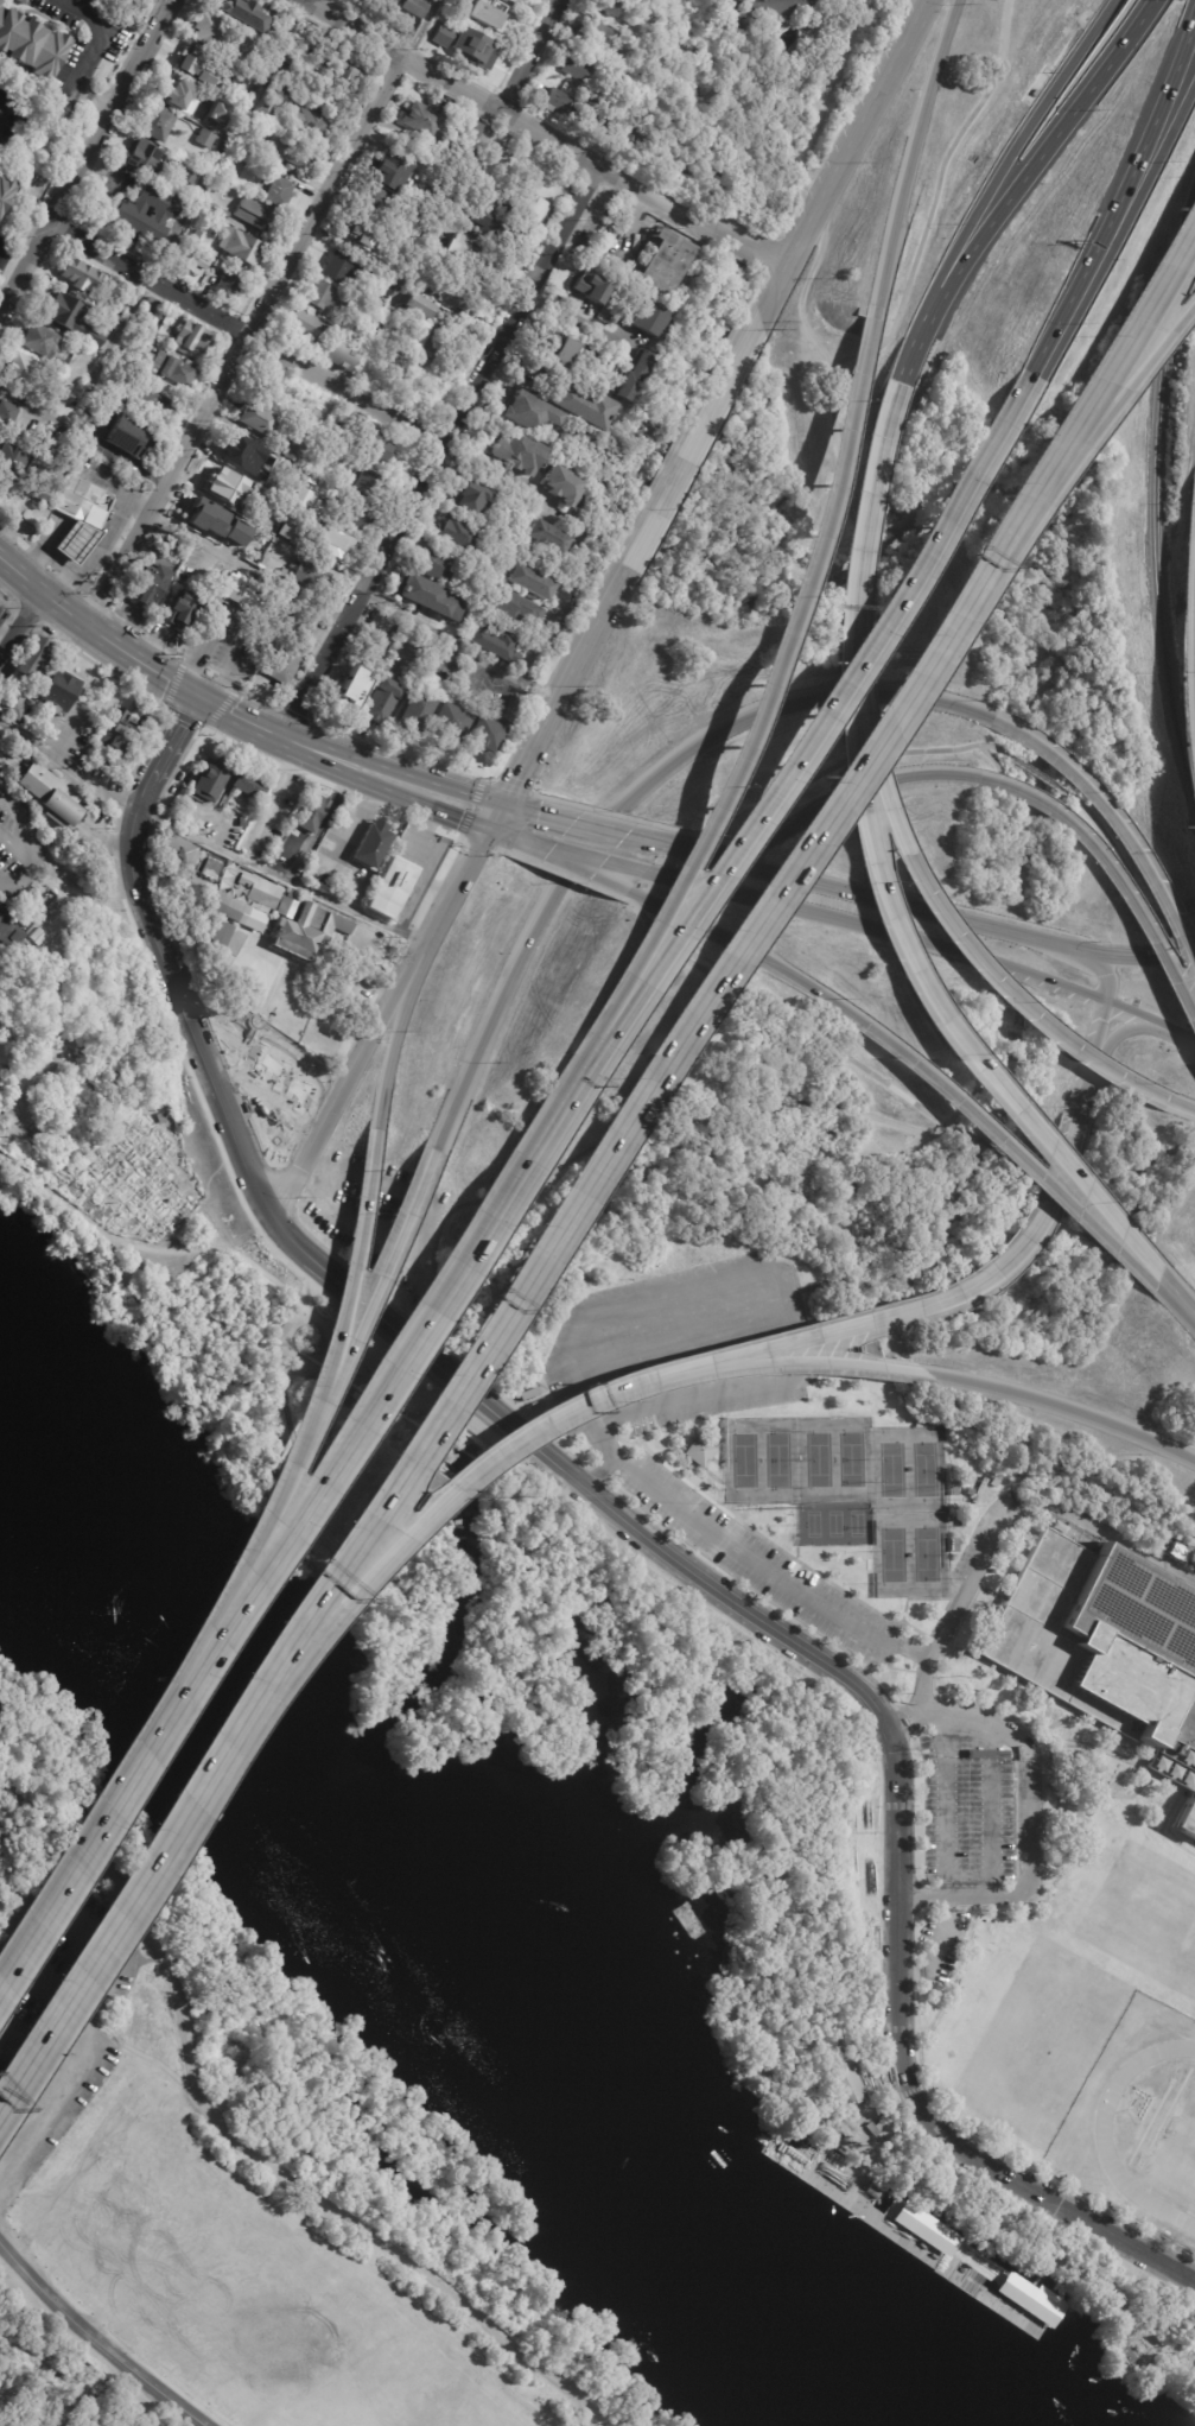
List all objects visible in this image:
building: (23, 0)
building: (515, 0)
building: (0, 1)
road: (313, 1)
building: (511, 1)
building: (380, 4)
building: (608, 6)
building: (414, 7)
building: (767, 7)
building: (243, 14)
building: (481, 15)
road: (418, 26)
building: (208, 28)
building: (596, 31)
road: (94, 34)
building: (441, 34)
building: (31, 43)
building: (472, 47)
building: (229, 50)
road: (529, 53)
building: (622, 61)
building: (345, 63)
building: (203, 64)
building: (577, 70)
building: (240, 78)
building: (311, 81)
building: (173, 91)
building: (555, 102)
road: (827, 104)
building: (263, 106)
building: (444, 106)
road: (511, 113)
building: (220, 114)
building: (157, 121)
building: (421, 122)
building: (305, 123)
road: (858, 134)
building: (465, 137)
building: (204, 139)
building: (631, 139)
road: (1142, 147)
road: (1016, 148)
building: (144, 153)
building: (287, 153)
road: (1043, 153)
road: (911, 154)
road: (84, 157)
building: (189, 172)
building: (390, 176)
building: (685, 176)
road: (1146, 183)
building: (5, 188)
building: (276, 192)
building: (523, 207)
building: (380, 208)
building: (102, 210)
road: (185, 211)
building: (217, 211)
building: (253, 215)
building: (144, 218)
building: (490, 224)
building: (196, 235)
building: (354, 236)
road: (740, 241)
building: (239, 247)
road: (425, 249)
building: (468, 256)
road: (737, 256)
building: (189, 260)
building: (663, 262)
road: (776, 262)
building: (341, 268)
building: (77, 275)
road: (910, 280)
building: (227, 284)
building: (422, 285)
building: (587, 286)
building: (381, 293)
road: (773, 294)
building: (458, 296)
building: (324, 299)
building: (108, 305)
building: (417, 306)
building: (648, 318)
building: (70, 321)
building: (145, 321)
road: (578, 321)
building: (304, 324)
road: (1060, 325)
road: (1134, 327)
building: (348, 328)
road: (244, 332)
building: (190, 338)
road: (248, 340)
building: (422, 340)
building: (38, 342)
building: (555, 346)
road: (916, 346)
building: (591, 354)
building: (127, 357)
building: (336, 359)
road: (1136, 366)
building: (167, 368)
building: (24, 370)
building: (634, 376)
road: (722, 391)
road: (699, 394)
building: (110, 397)
building: (580, 403)
building: (154, 404)
building: (127, 405)
building: (525, 412)
building: (5, 414)
building: (256, 419)
road: (85, 435)
building: (125, 437)
building: (332, 437)
building: (380, 448)
road: (439, 449)
building: (294, 452)
building: (517, 454)
building: (9, 465)
road: (500, 469)
building: (220, 481)
building: (38, 483)
building: (368, 483)
building: (562, 484)
building: (303, 499)
building: (470, 499)
building: (83, 500)
road: (863, 512)
road: (655, 514)
building: (352, 517)
building: (267, 522)
building: (216, 524)
road: (913, 524)
railway: (1156, 533)
road: (191, 534)
building: (458, 534)
building: (546, 534)
building: (75, 540)
building: (332, 545)
road: (617, 550)
building: (434, 564)
building: (309, 578)
building: (530, 579)
road: (1193, 584)
building: (148, 587)
building: (235, 588)
building: (431, 597)
building: (514, 604)
building: (179, 610)
road: (602, 616)
road: (21, 621)
road: (432, 627)
building: (294, 628)
road: (96, 629)
road: (1029, 640)
building: (497, 645)
building: (38, 663)
building: (284, 664)
road: (173, 683)
building: (349, 688)
road: (545, 690)
building: (63, 691)
road: (763, 692)
traffic signals: (201, 695)
road: (1190, 695)
road: (256, 698)
building: (381, 699)
road: (802, 701)
building: (21, 705)
road: (222, 707)
building: (417, 710)
road: (182, 715)
road: (239, 715)
road: (294, 715)
road: (819, 717)
building: (450, 721)
building: (121, 730)
building: (485, 730)
road: (540, 734)
road: (169, 752)
road: (398, 754)
road: (853, 762)
road: (390, 766)
road: (69, 767)
road: (1038, 775)
road: (1070, 775)
building: (299, 778)
road: (905, 778)
building: (208, 781)
building: (248, 783)
road: (330, 783)
road: (509, 786)
road: (379, 790)
building: (52, 798)
road: (272, 799)
traffic signals: (503, 804)
road: (519, 807)
road: (1044, 807)
road: (472, 809)
building: (310, 811)
road: (608, 812)
parking lot: (98, 816)
road: (360, 816)
road: (1009, 816)
road: (555, 817)
road: (495, 818)
building: (242, 822)
road: (583, 823)
road: (743, 825)
road: (20, 826)
road: (316, 829)
road: (710, 829)
road: (788, 830)
road: (896, 831)
traffic signals: (488, 832)
road: (628, 835)
road: (726, 835)
road: (500, 836)
road: (106, 838)
building: (369, 843)
road: (478, 843)
road: (759, 843)
road: (116, 845)
road: (527, 845)
parking lot: (17, 849)
building: (176, 851)
road: (704, 854)
road: (596, 861)
road: (33, 867)
building: (209, 868)
road: (589, 873)
road: (562, 875)
road: (1136, 879)
road: (282, 880)
building: (389, 886)
road: (456, 889)
road: (729, 891)
building: (265, 893)
road: (84, 894)
road: (633, 901)
building: (236, 911)
road: (980, 913)
road: (1165, 917)
building: (206, 919)
road: (967, 919)
building: (32, 925)
building: (307, 925)
building: (218, 935)
road: (723, 935)
road: (1150, 945)
road: (180, 948)
road: (958, 951)
road: (166, 959)
road: (520, 963)
road: (1105, 976)
road: (923, 999)
road: (370, 1011)
road: (169, 1012)
road: (1137, 1016)
road: (250, 1018)
road: (694, 1018)
road: (254, 1027)
road: (797, 1027)
road: (1099, 1030)
road: (1127, 1031)
road: (1182, 1035)
road: (398, 1039)
road: (244, 1047)
park: (253, 1050)
road: (1075, 1054)
road: (269, 1062)
road: (237, 1066)
road: (984, 1076)
road: (349, 1082)
road: (1087, 1092)
building: (157, 1106)
road: (1178, 1108)
building: (161, 1117)
road: (983, 1130)
road: (612, 1139)
road: (986, 1145)
park: (134, 1151)
road: (248, 1163)
road: (1091, 1186)
road: (280, 1190)
parking lot: (384, 1220)
road: (193, 1249)
road: (781, 1285)
road: (348, 1290)
road: (376, 1291)
road: (311, 1296)
road: (358, 1298)
road: (370, 1299)
road: (1176, 1299)
road: (940, 1306)
road: (360, 1322)
building: (284, 1329)
road: (214, 1351)
road: (401, 1357)
road: (829, 1364)
road: (475, 1372)
building: (528, 1392)
road: (586, 1399)
road: (1074, 1414)
road: (535, 1424)
road: (406, 1448)
parking lot: (614, 1451)
building: (699, 1452)
park: (848, 1457)
road: (501, 1458)
road: (597, 1458)
park: (775, 1458)
park: (815, 1458)
park: (740, 1459)
park: (889, 1468)
park: (922, 1468)
road: (600, 1471)
road: (638, 1475)
building: (994, 1483)
building: (954, 1489)
building: (980, 1491)
building: (971, 1493)
road: (611, 1507)
road: (377, 1516)
park: (853, 1521)
building: (965, 1521)
park: (811, 1522)
park: (832, 1522)
building: (955, 1546)
road: (987, 1548)
road: (254, 1552)
park: (889, 1553)
park: (923, 1553)
road: (240, 1598)
road: (907, 1610)
road: (971, 1611)
road: (924, 1642)
building: (1107, 1648)
road: (916, 1670)
road: (793, 1678)
road: (285, 1679)
road: (920, 1697)
road: (844, 1700)
road: (1064, 1703)
road: (674, 1710)
road: (1045, 1710)
road: (1088, 1716)
park: (666, 1779)
road: (1098, 1792)
road: (989, 1810)
parking lot: (970, 1822)
road: (103, 1825)
road: (1030, 1826)
road: (946, 1858)
road: (782, 1888)
road: (42, 1895)
park: (1149, 1911)
road: (121, 1932)
river: (496, 2009)
road: (898, 2012)
parking lot: (58, 2020)
building: (240, 2053)
road: (153, 2063)
building: (233, 2071)
building: (846, 2082)
building: (1137, 2104)
building: (886, 2130)
track: (1100, 2139)
park: (1176, 2153)
park: (223, 2155)
road: (291, 2175)
pier: (867, 2199)
parking lot: (247, 2288)
road: (94, 2323)
road: (95, 2342)
road: (1123, 2369)
road: (52, 2379)
road: (66, 2411)

